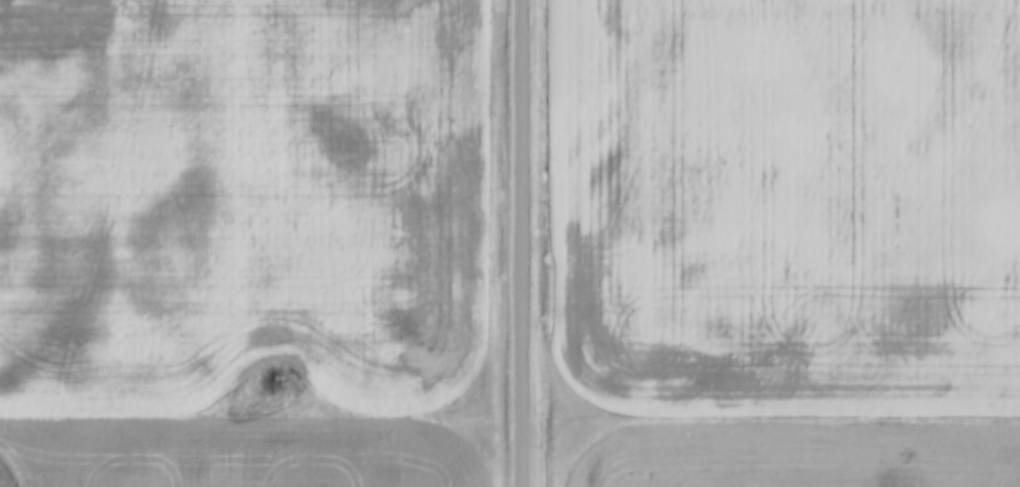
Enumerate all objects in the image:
road: (525, 243)

